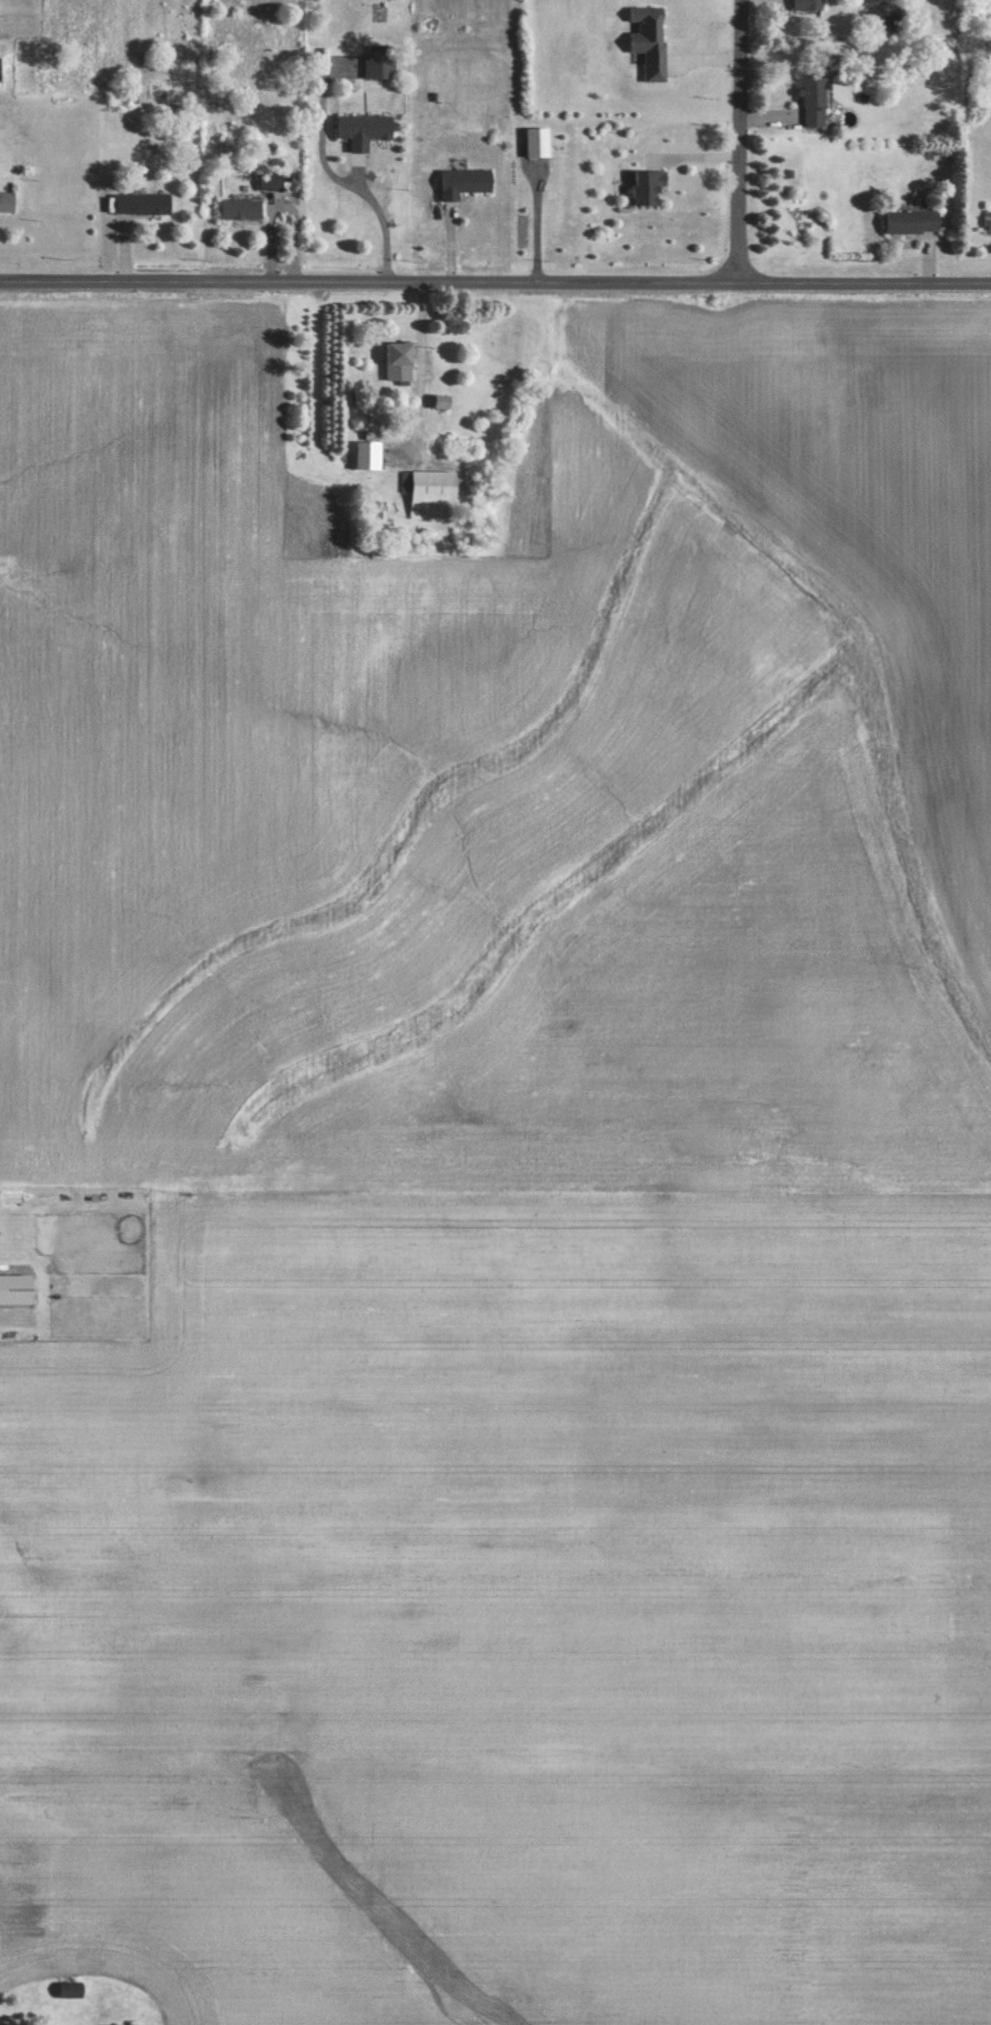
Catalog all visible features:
building: (813, 5)
building: (652, 39)
building: (381, 62)
building: (1, 69)
building: (817, 100)
building: (366, 129)
road: (739, 142)
building: (467, 182)
building: (651, 187)
building: (8, 201)
building: (145, 203)
building: (244, 208)
road: (387, 217)
building: (914, 221)
building: (990, 221)
road: (495, 284)
building: (516, 345)
building: (400, 360)
building: (443, 401)
building: (369, 454)
building: (432, 491)
building: (74, 1990)

